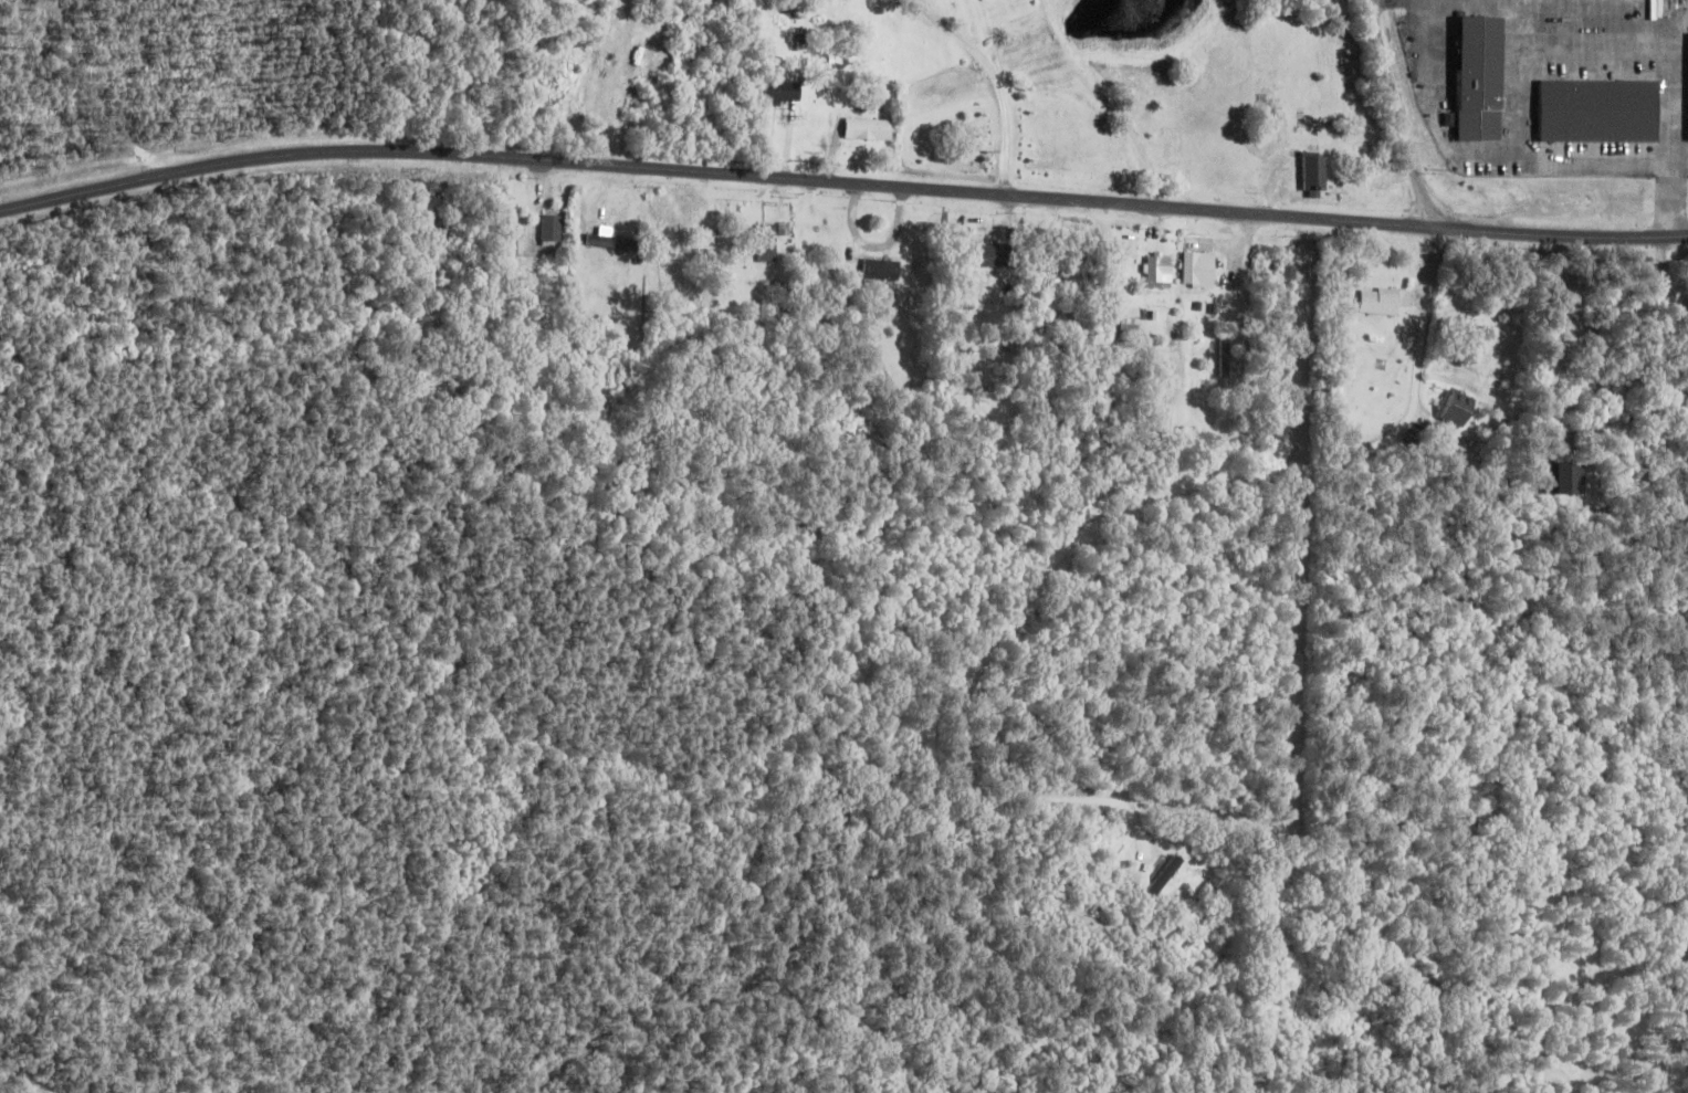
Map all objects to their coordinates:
building: (1476, 76)
building: (1685, 83)
building: (776, 92)
building: (1594, 109)
road: (1399, 113)
building: (867, 128)
building: (1317, 172)
road: (841, 182)
building: (552, 227)
building: (611, 240)
building: (768, 242)
building: (987, 254)
building: (1197, 266)
building: (881, 269)
building: (1155, 269)
road: (1666, 283)
building: (1382, 299)
building: (1131, 318)
building: (1455, 406)
building: (1561, 475)
road: (1126, 508)
building: (1165, 874)

